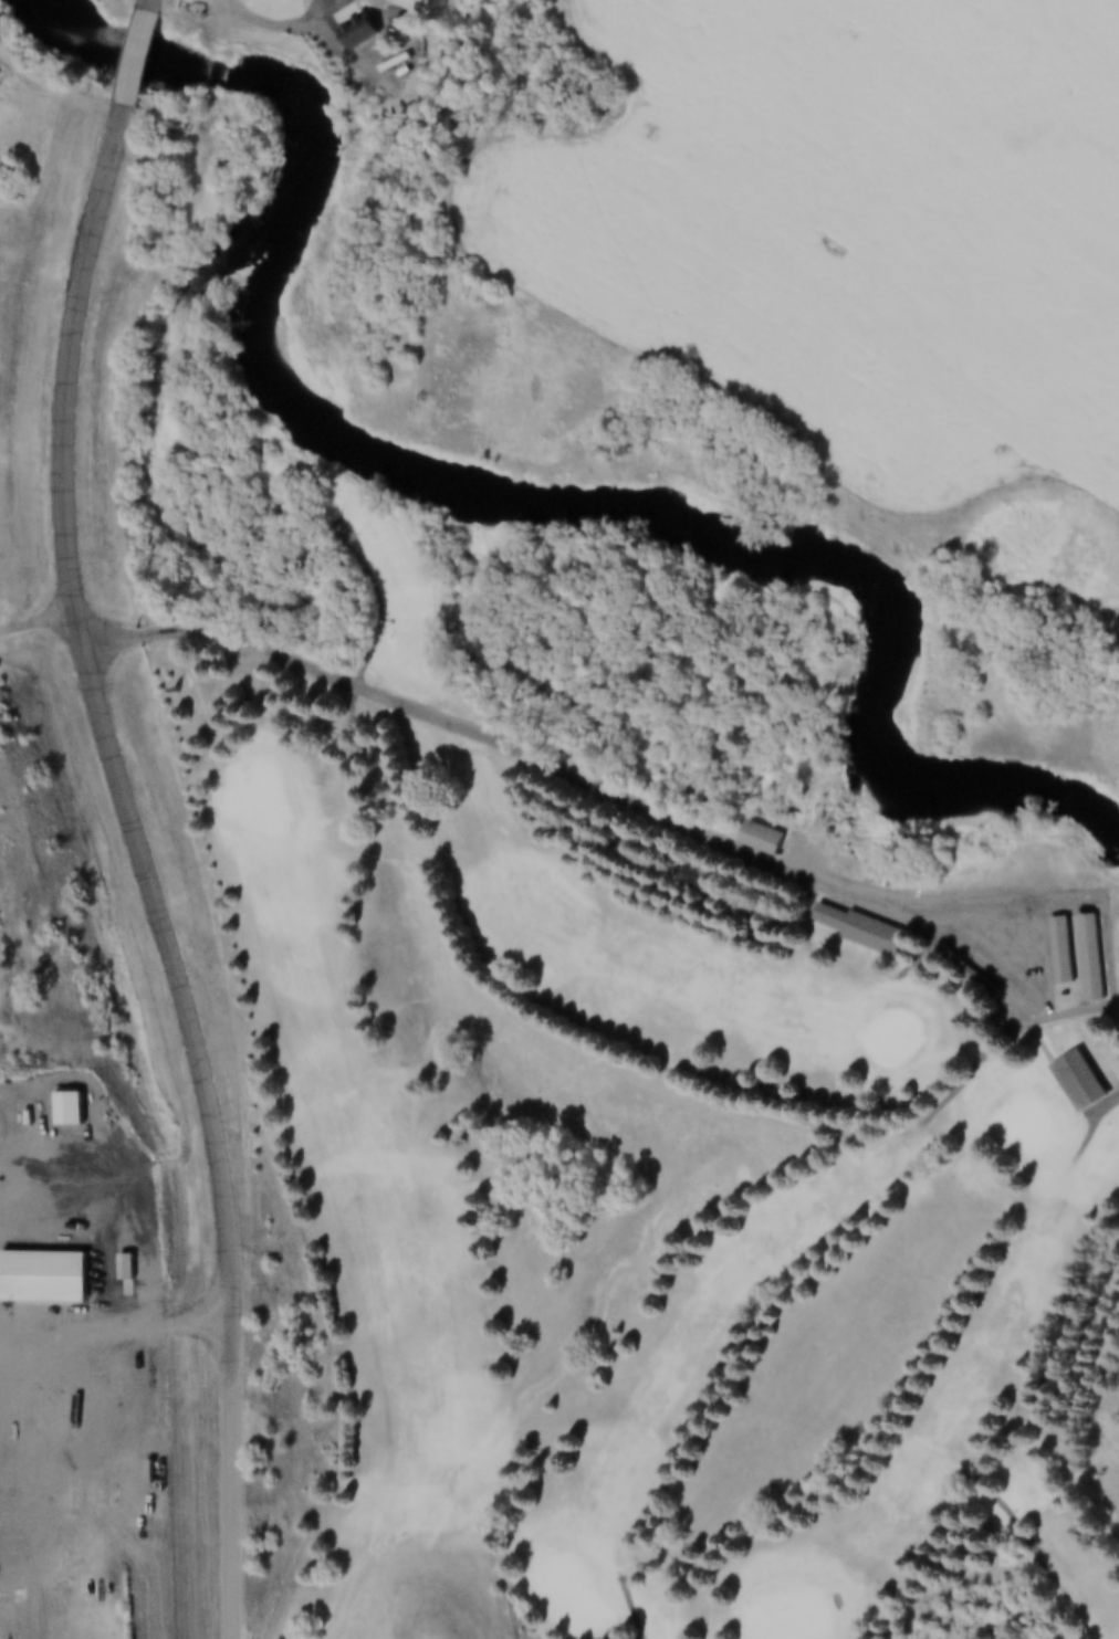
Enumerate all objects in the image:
road: (160, 4)
road: (292, 27)
building: (346, 30)
road: (146, 59)
river: (530, 512)
road: (48, 624)
road: (1, 629)
road: (111, 717)
road: (568, 773)
building: (750, 838)
building: (850, 928)
building: (1060, 946)
building: (1050, 949)
building: (1090, 954)
building: (1080, 956)
building: (1070, 1079)
building: (69, 1105)
building: (53, 1111)
park: (657, 1165)
building: (34, 1279)
road: (127, 1338)
road: (8, 1395)
building: (135, 1473)
road: (242, 1479)

